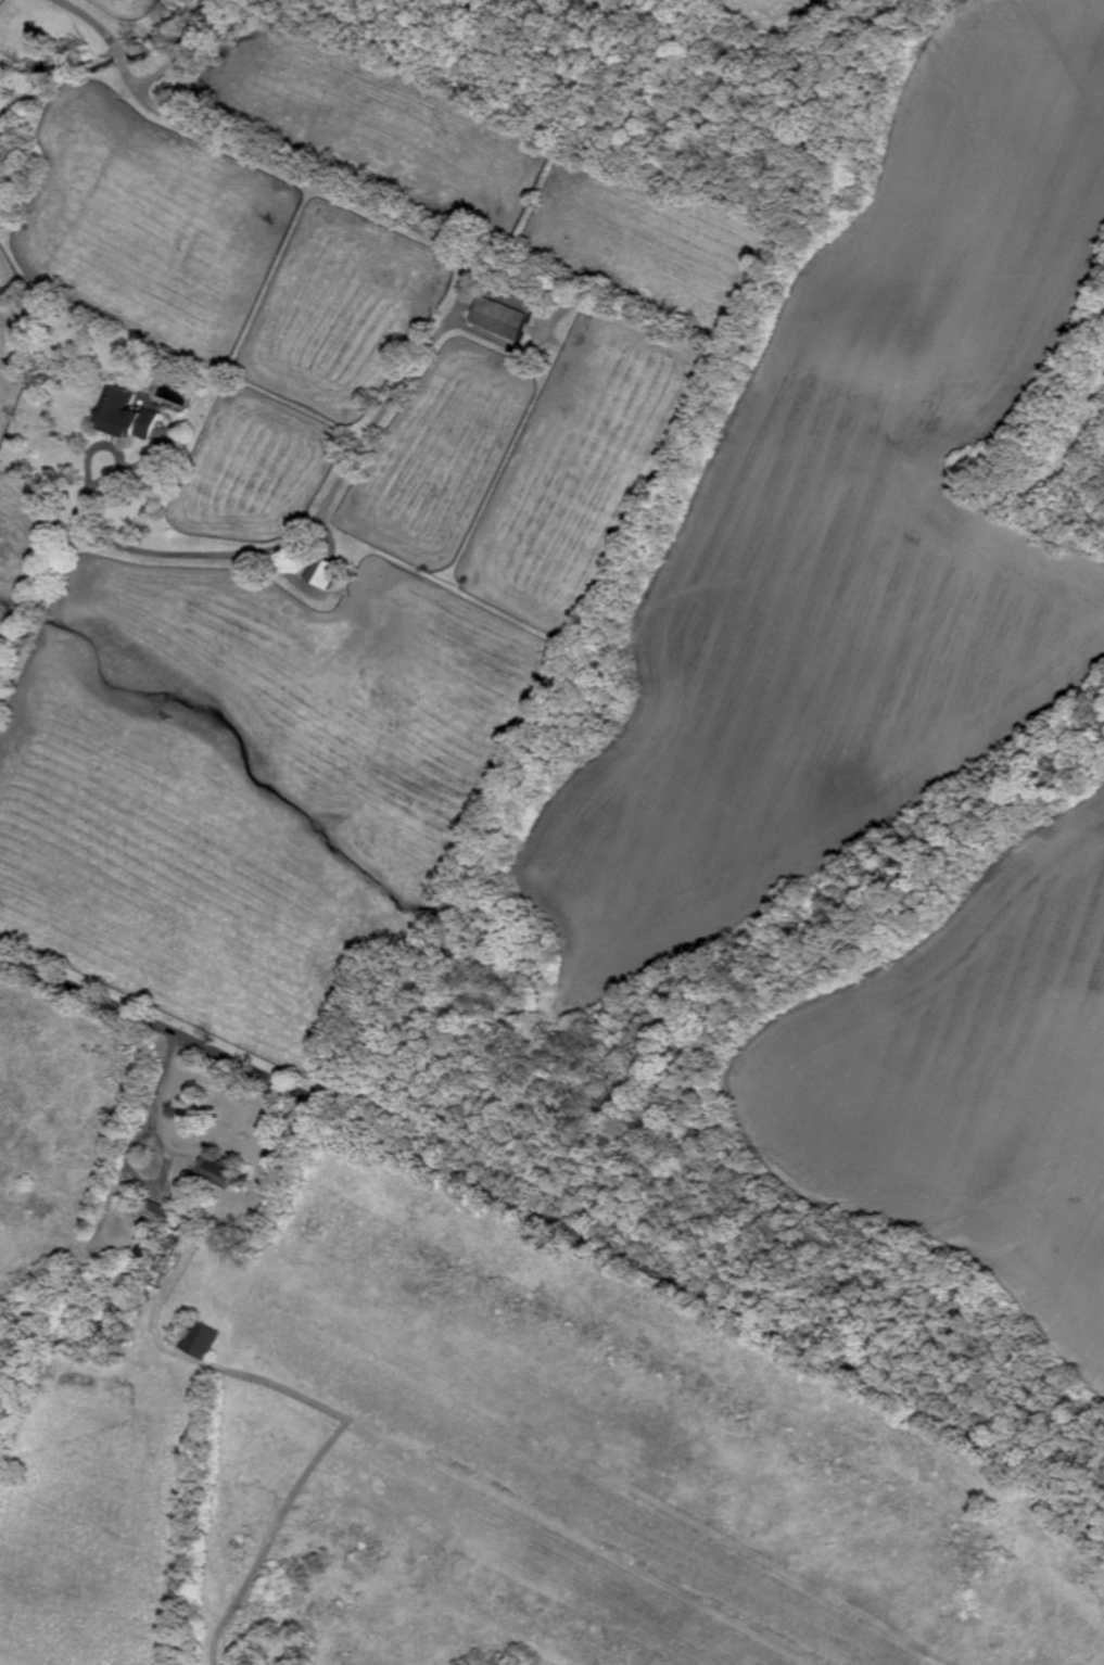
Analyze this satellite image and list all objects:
building: (504, 318)
building: (83, 331)
road: (415, 364)
building: (128, 415)
building: (323, 568)
building: (226, 1171)
building: (128, 1193)
building: (160, 1211)
road: (563, 1223)
building: (148, 1248)
silo: (148, 1248)
building: (169, 1257)
building: (115, 1307)
building: (202, 1336)
airport runway: (562, 1488)

